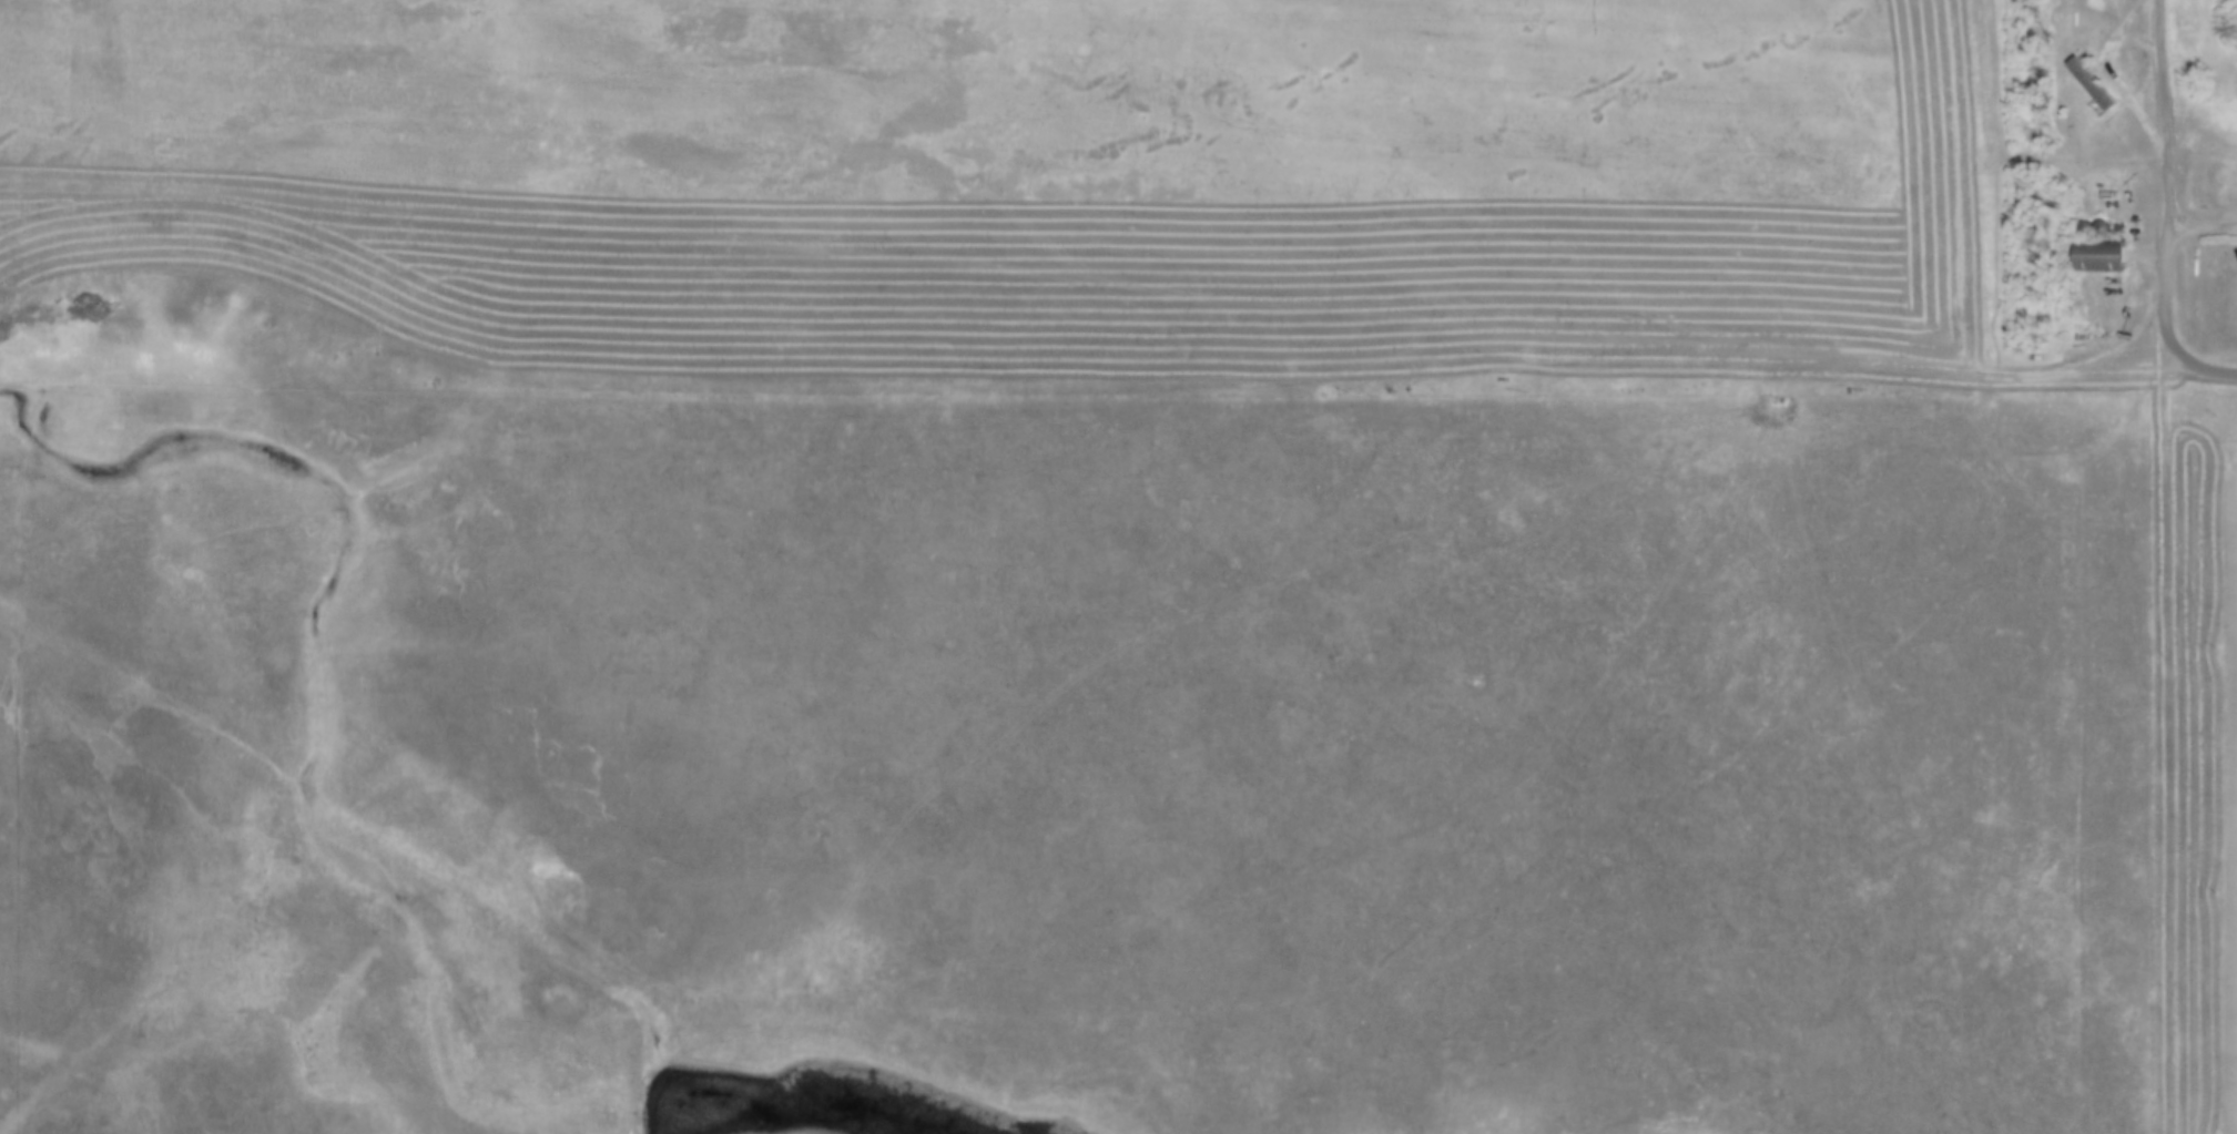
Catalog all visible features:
road: (2118, 74)
building: (2092, 82)
road: (2166, 188)
airport runway: (934, 198)
road: (2200, 225)
building: (2098, 254)
road: (1970, 304)
road: (2215, 371)
road: (2190, 752)

